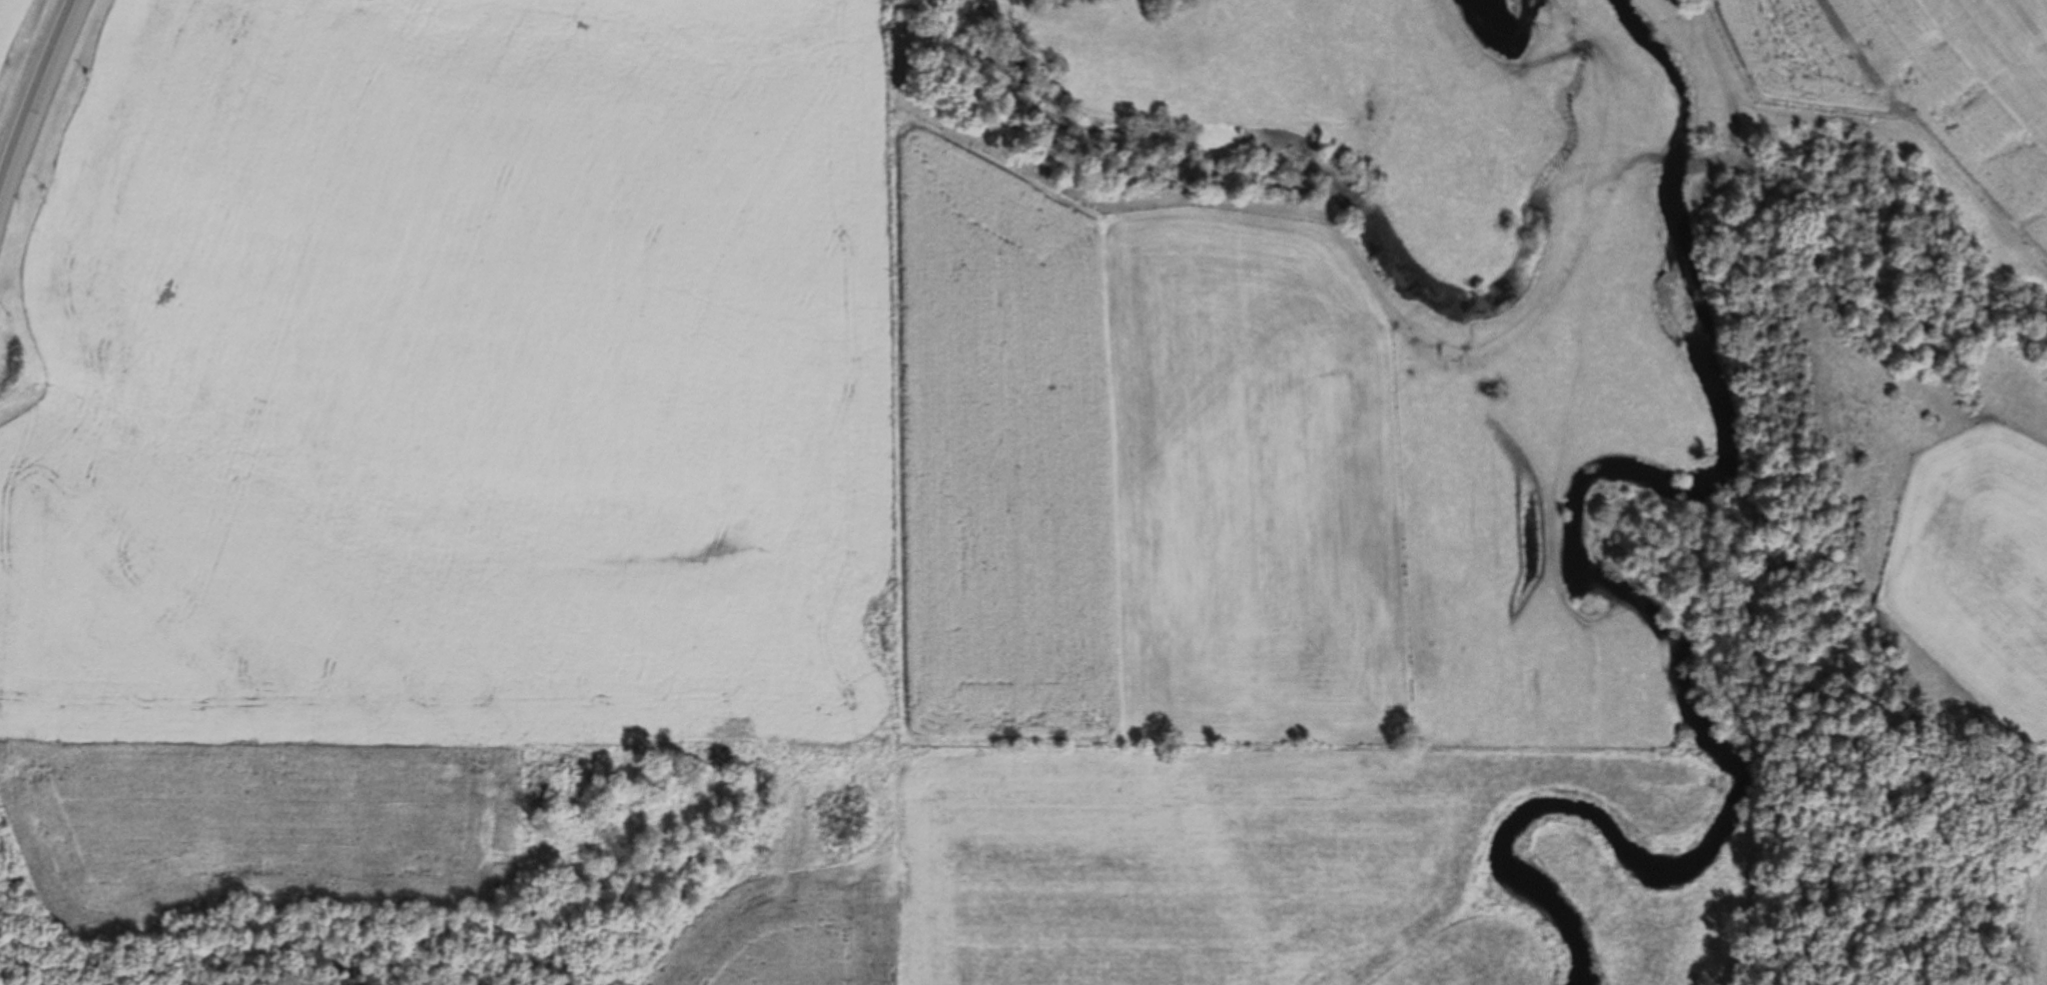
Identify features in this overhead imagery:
road: (36, 95)

